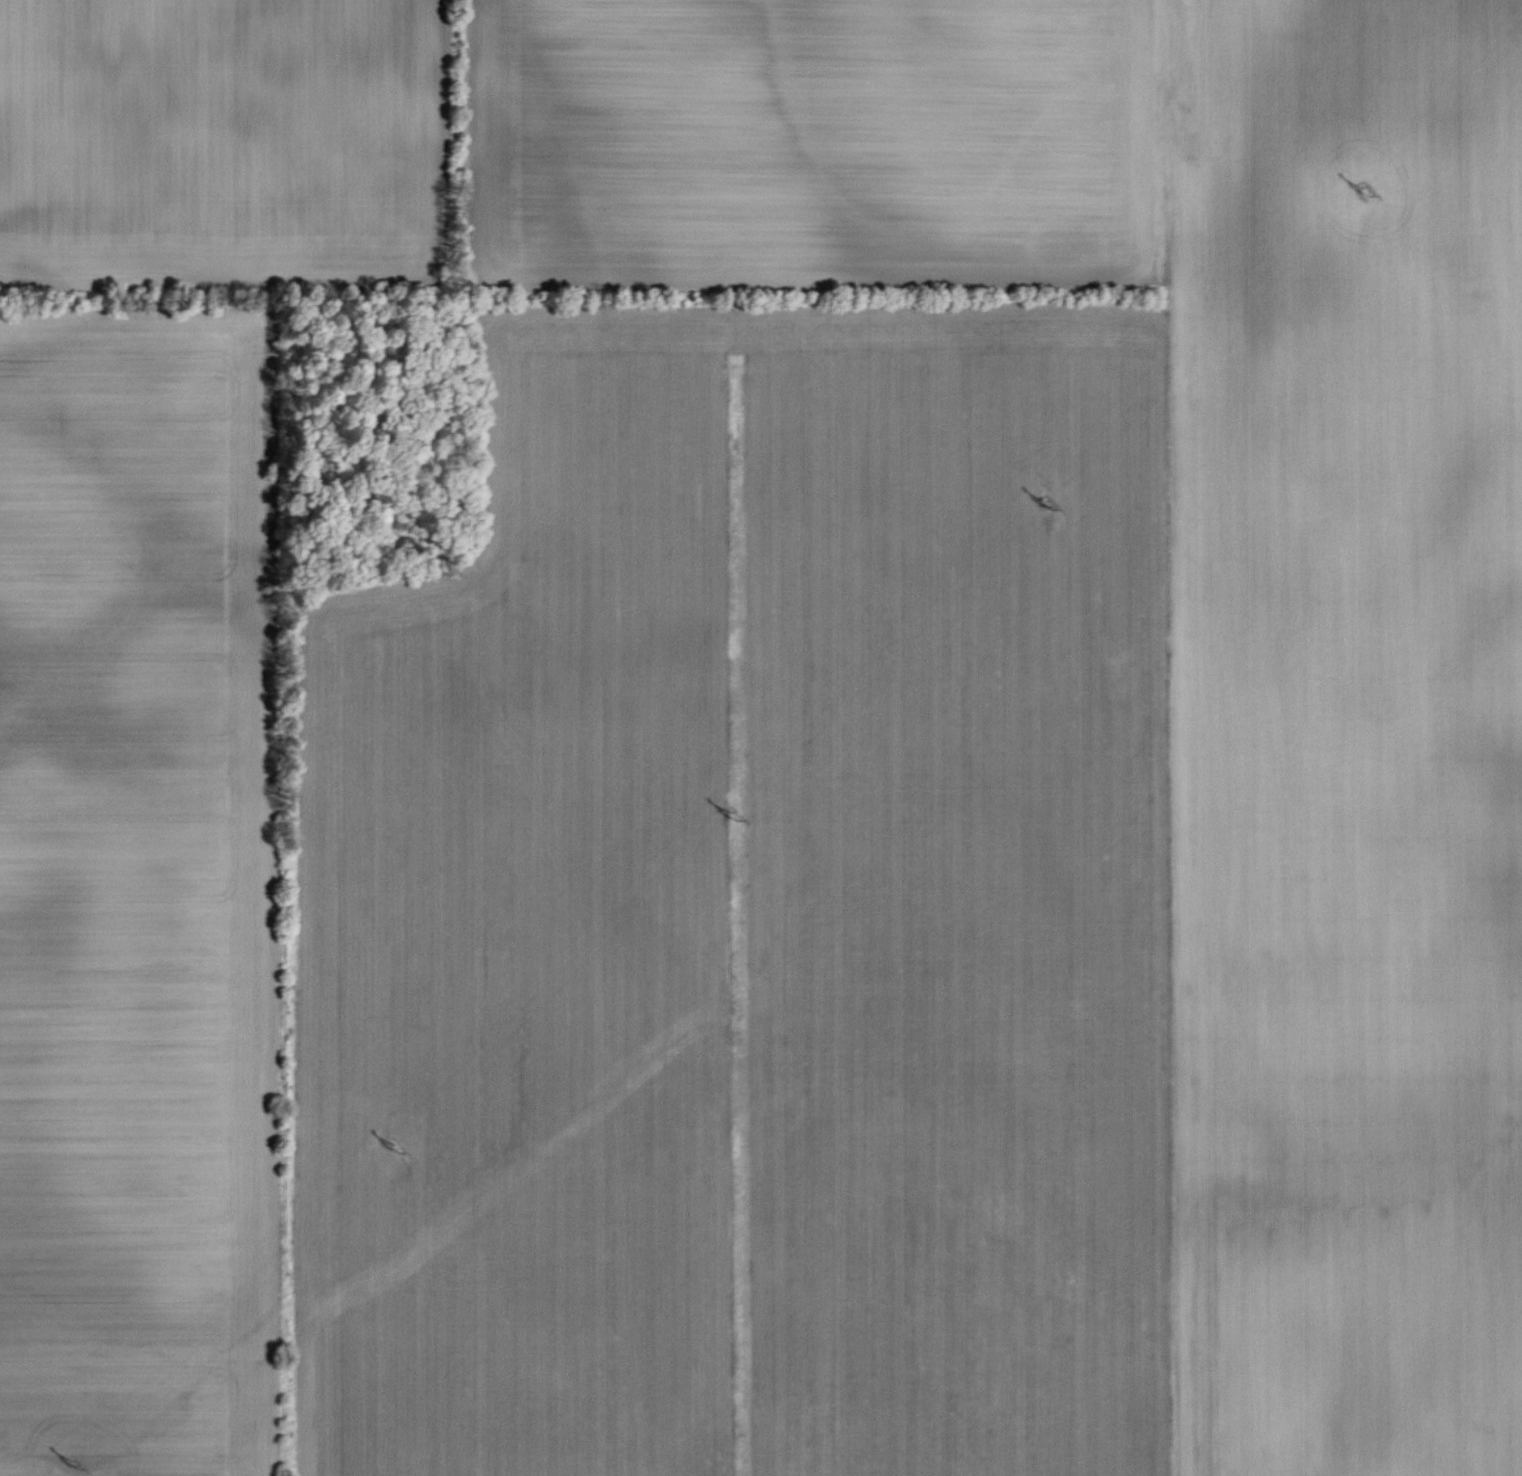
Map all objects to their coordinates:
power tower: (1365, 195)
power tower: (1047, 507)
power tower: (734, 817)
power tower: (394, 1152)
power tower: (76, 1462)

